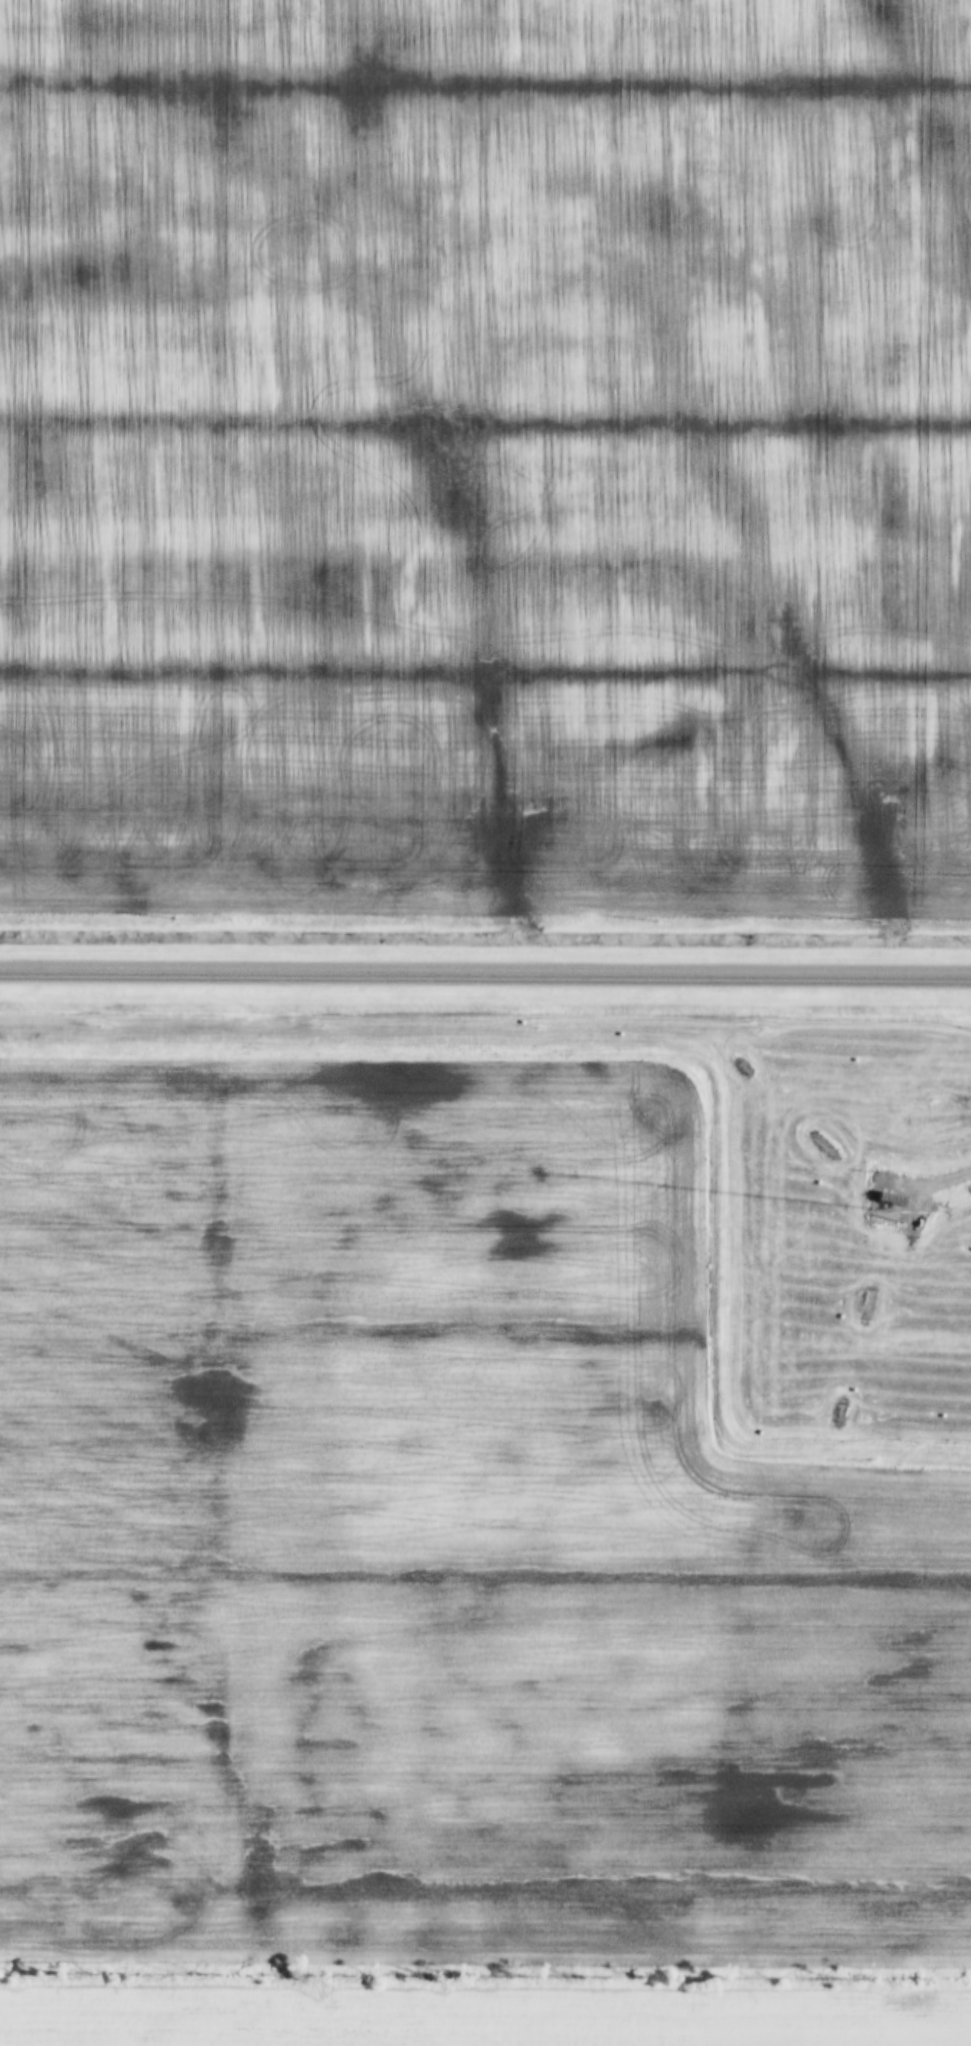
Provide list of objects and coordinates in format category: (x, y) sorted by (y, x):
road: (485, 974)
road: (943, 1182)
building: (897, 1201)
crop: (442, 1587)

